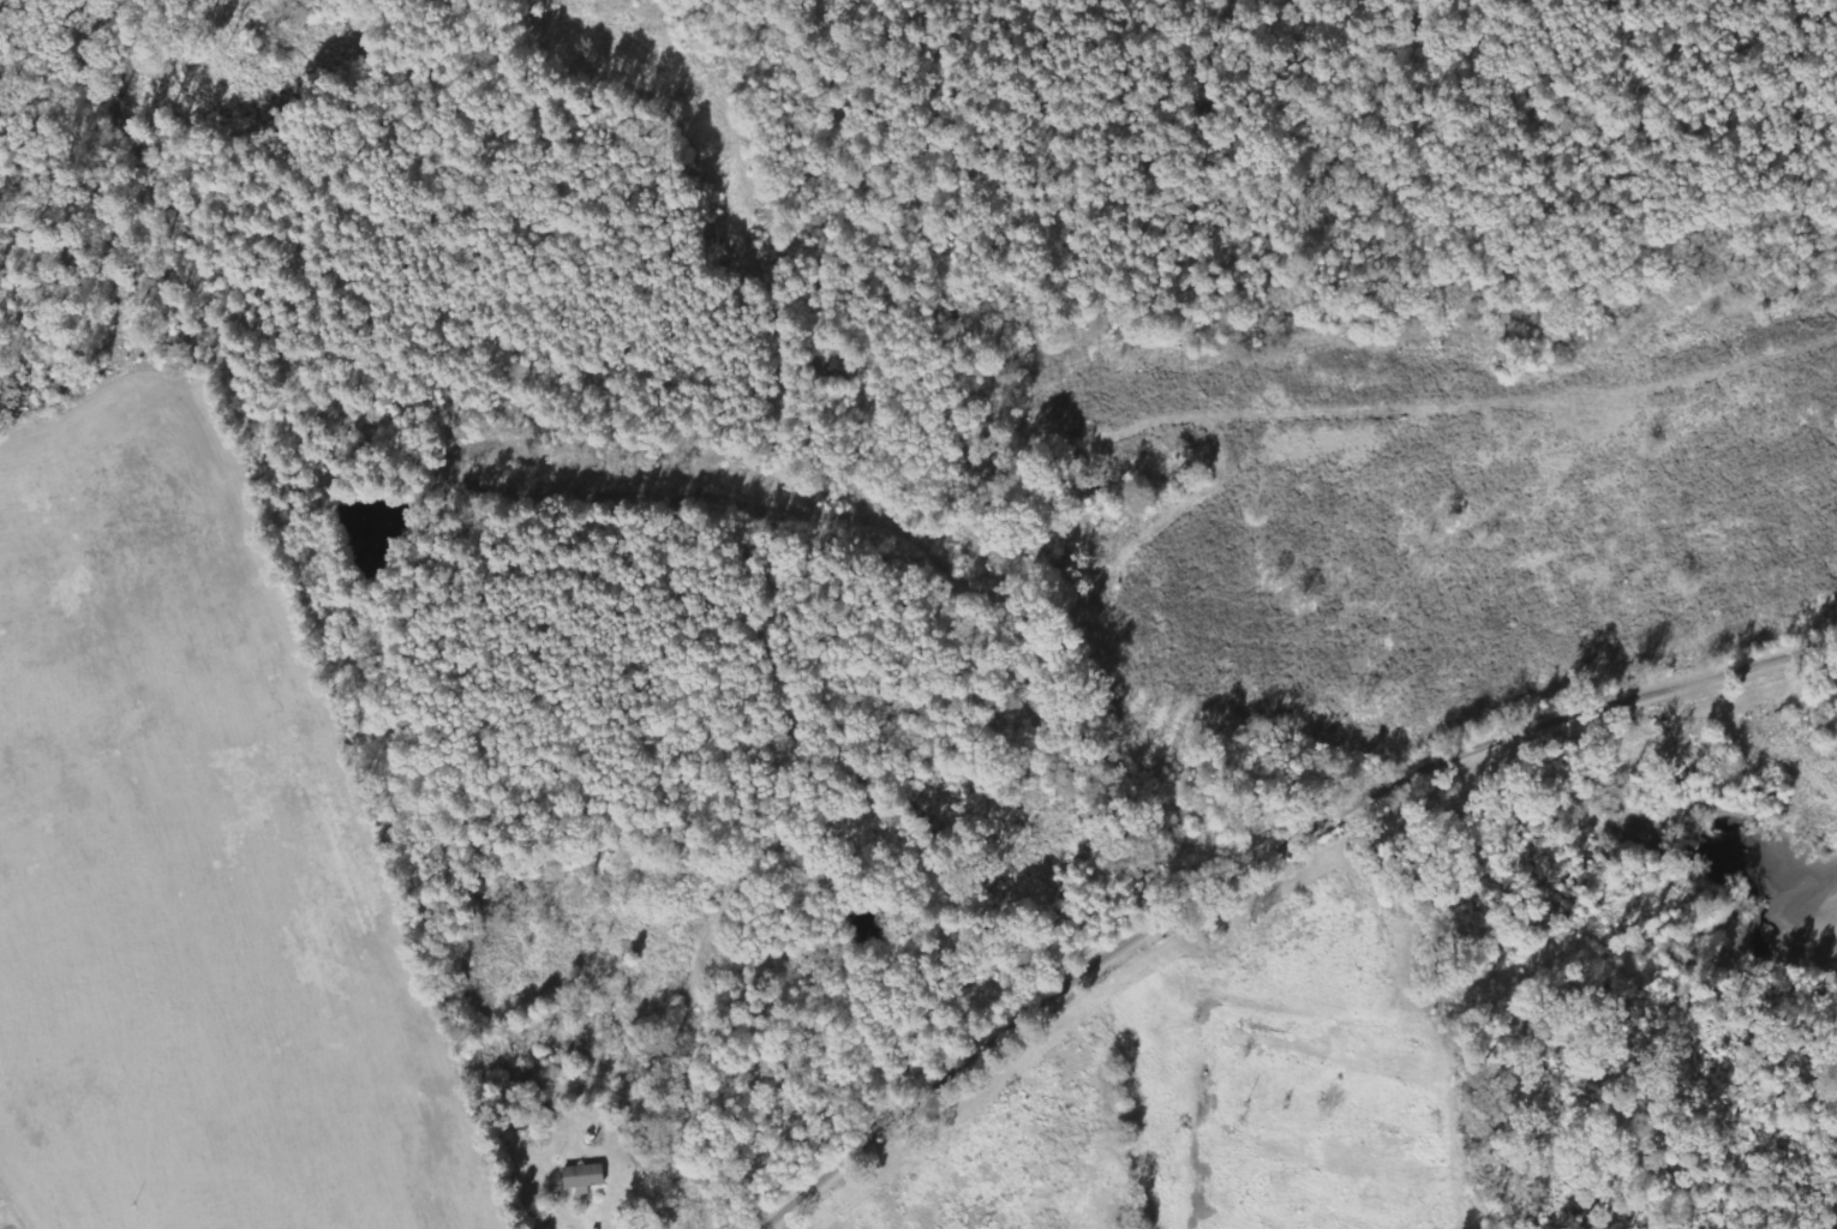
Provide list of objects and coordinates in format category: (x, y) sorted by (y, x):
road: (1238, 855)
building: (581, 1175)

